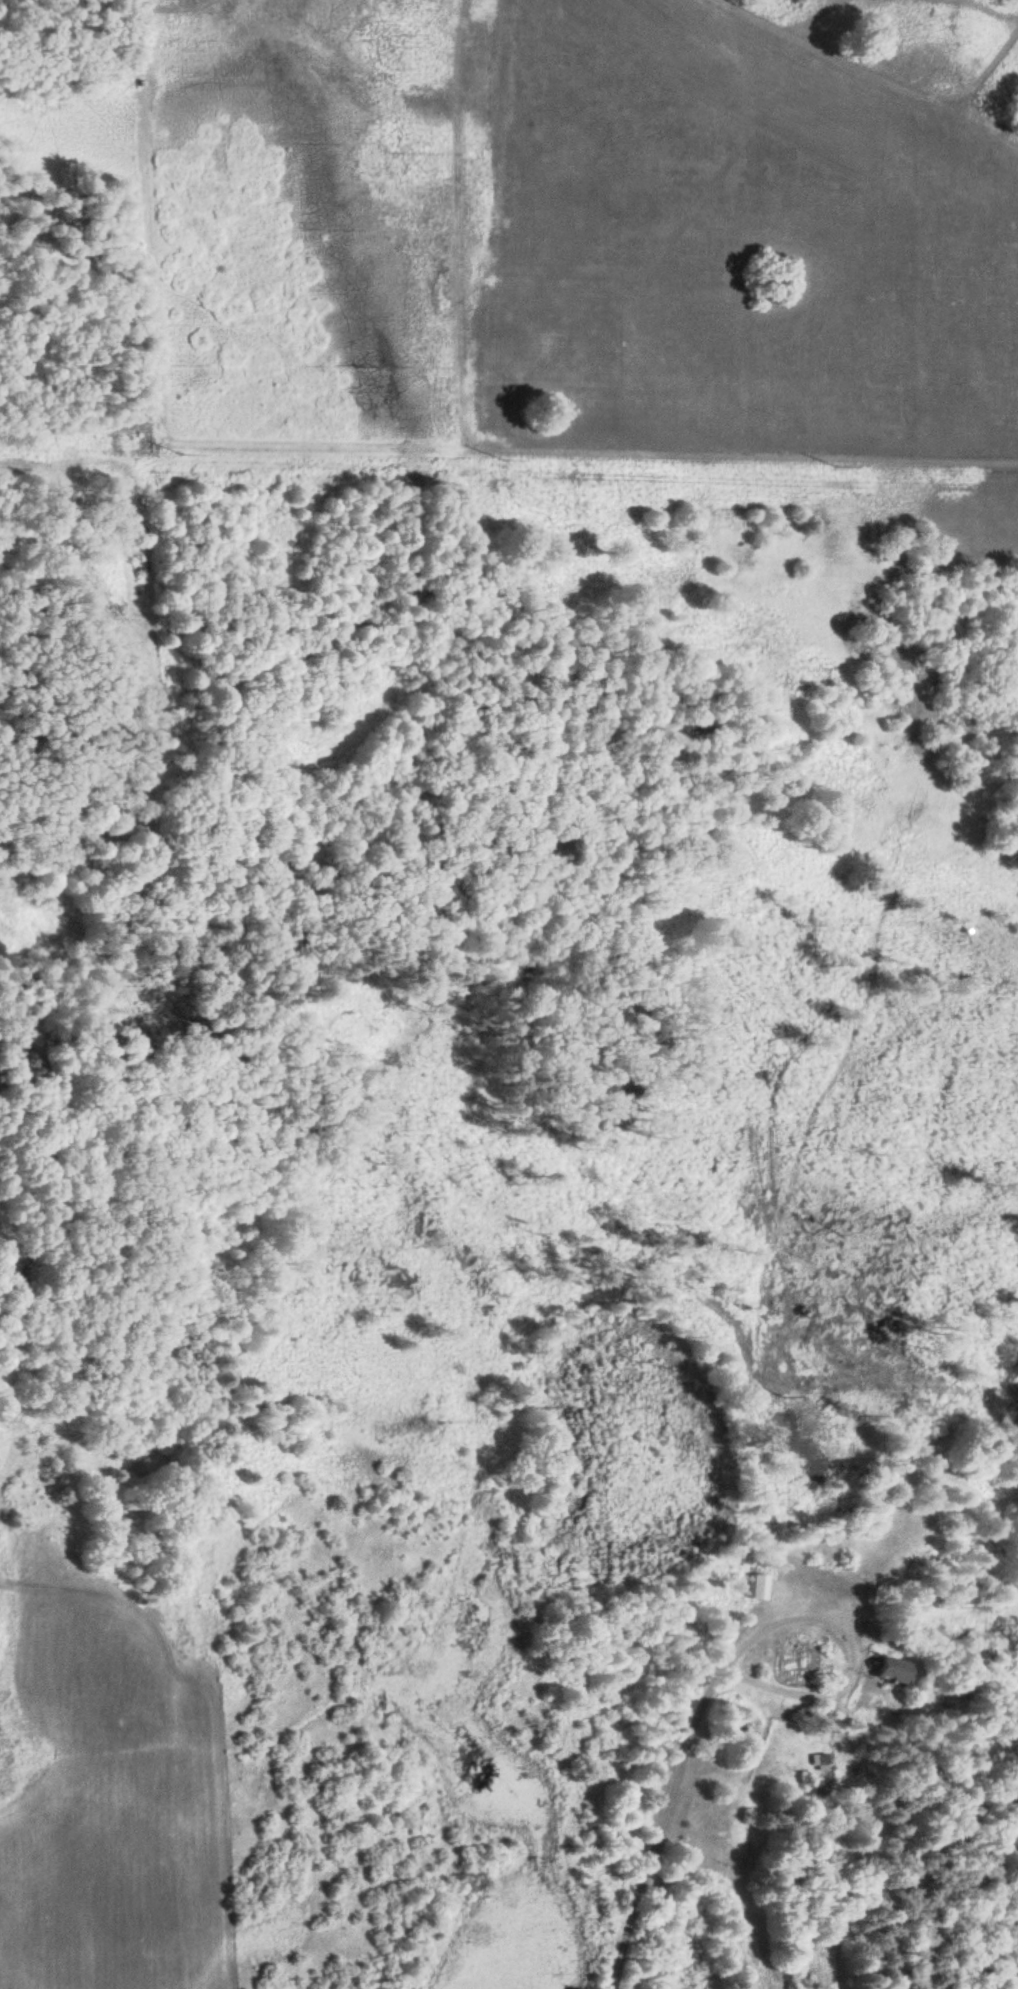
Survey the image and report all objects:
building: (755, 1587)
road: (851, 1649)
building: (889, 1670)
road: (659, 1827)

